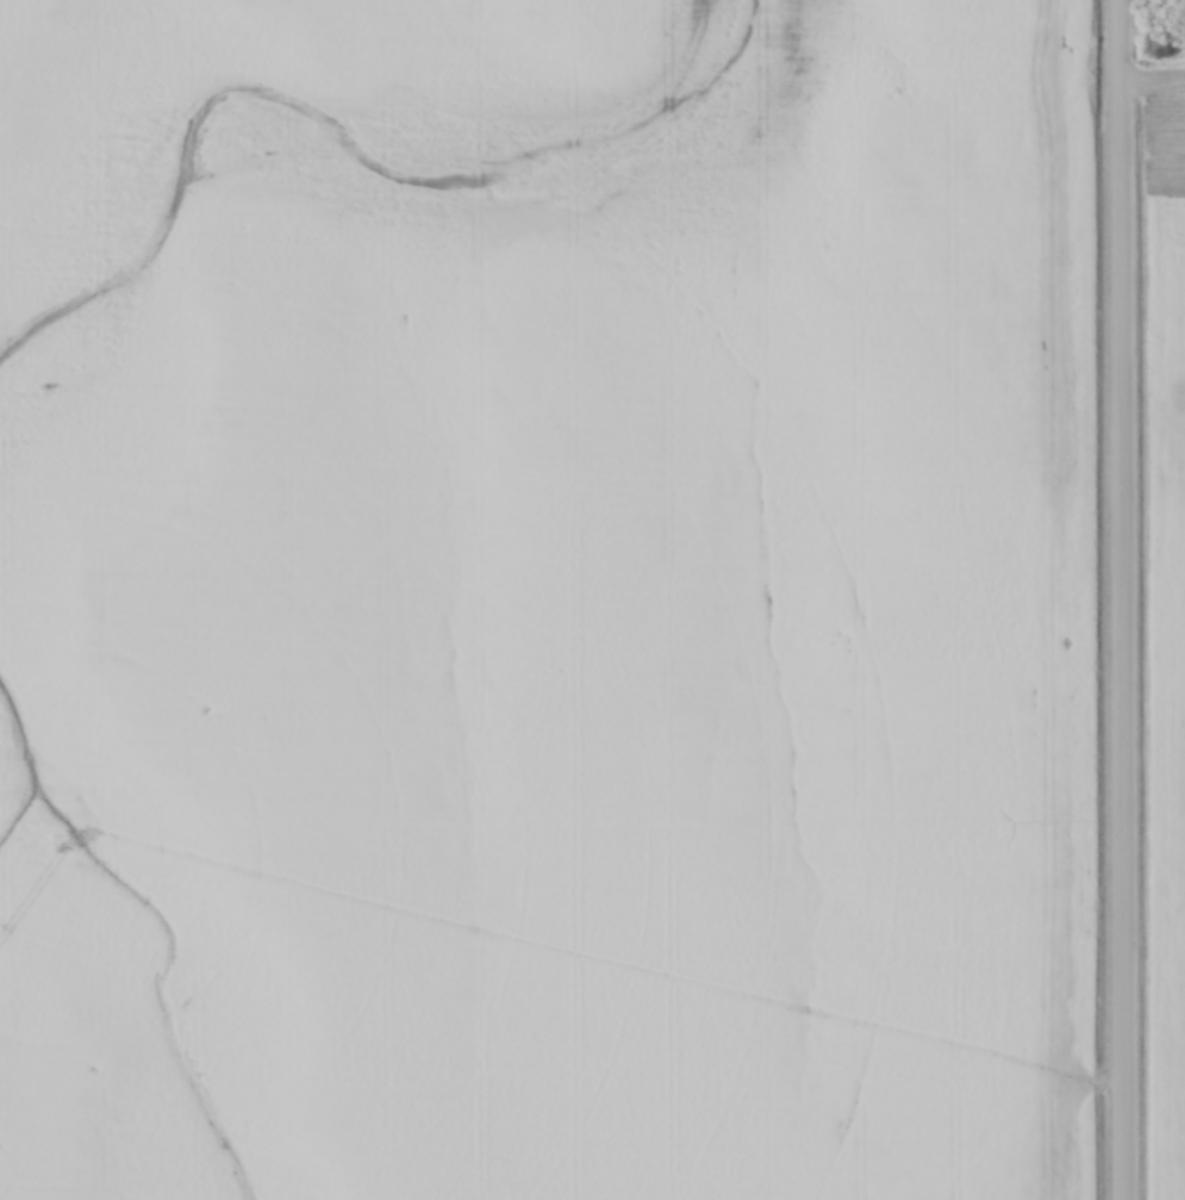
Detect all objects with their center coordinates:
road: (1115, 599)

